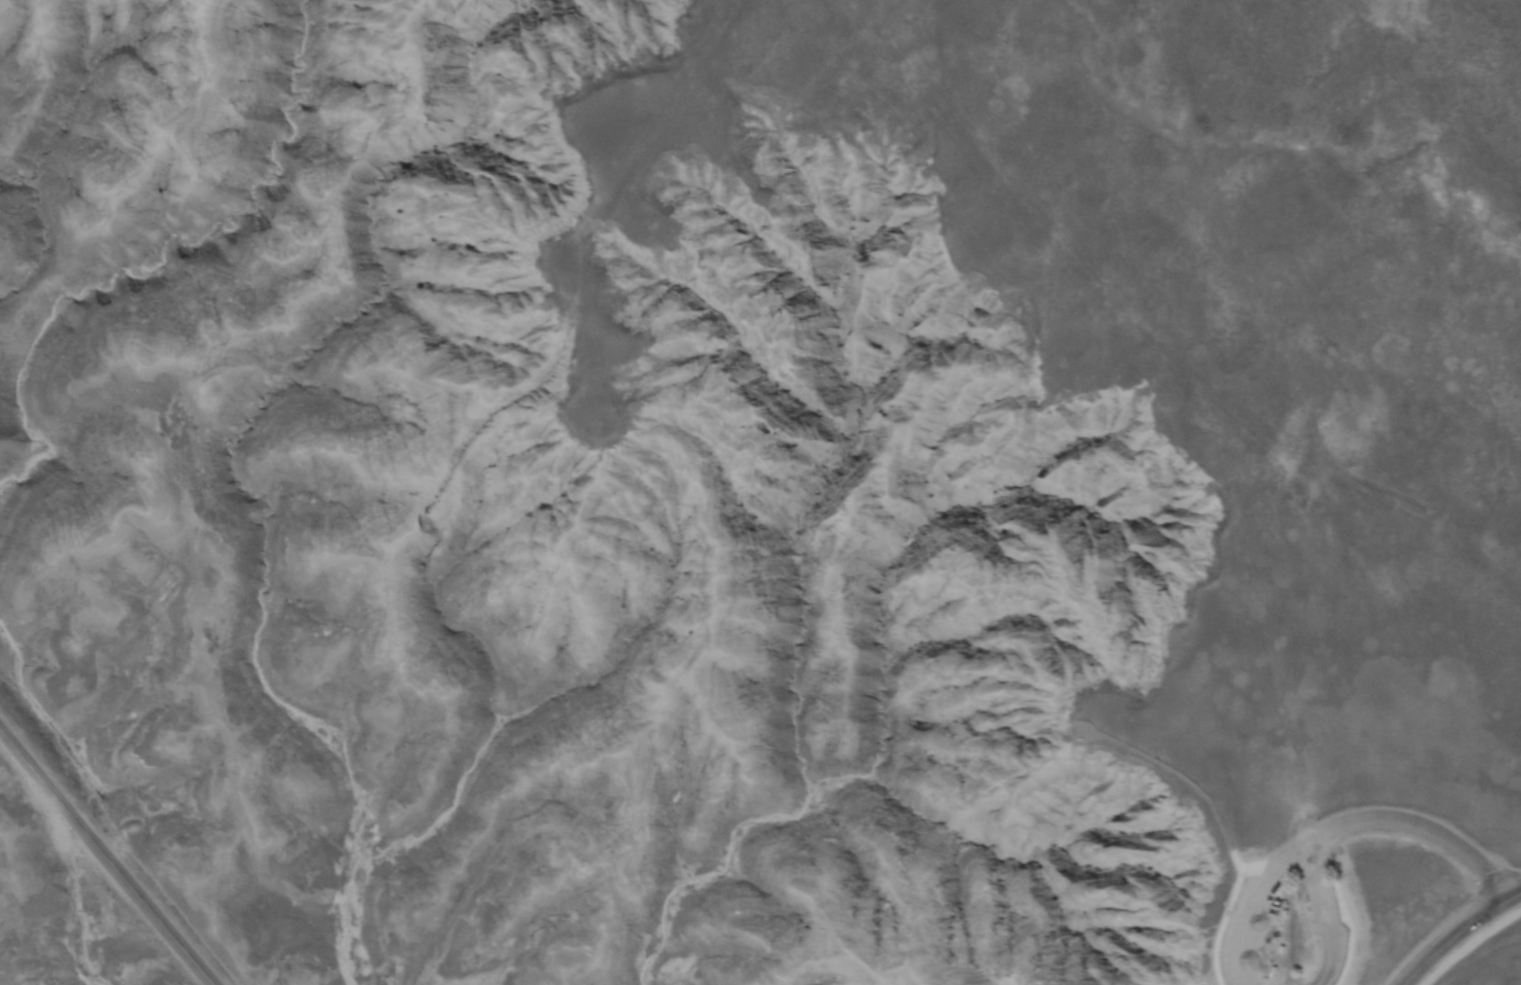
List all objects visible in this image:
road: (12, 749)
road: (1189, 778)
road: (1415, 819)
road: (1295, 843)
road: (115, 875)
parking lot: (1277, 913)
road: (1453, 924)

